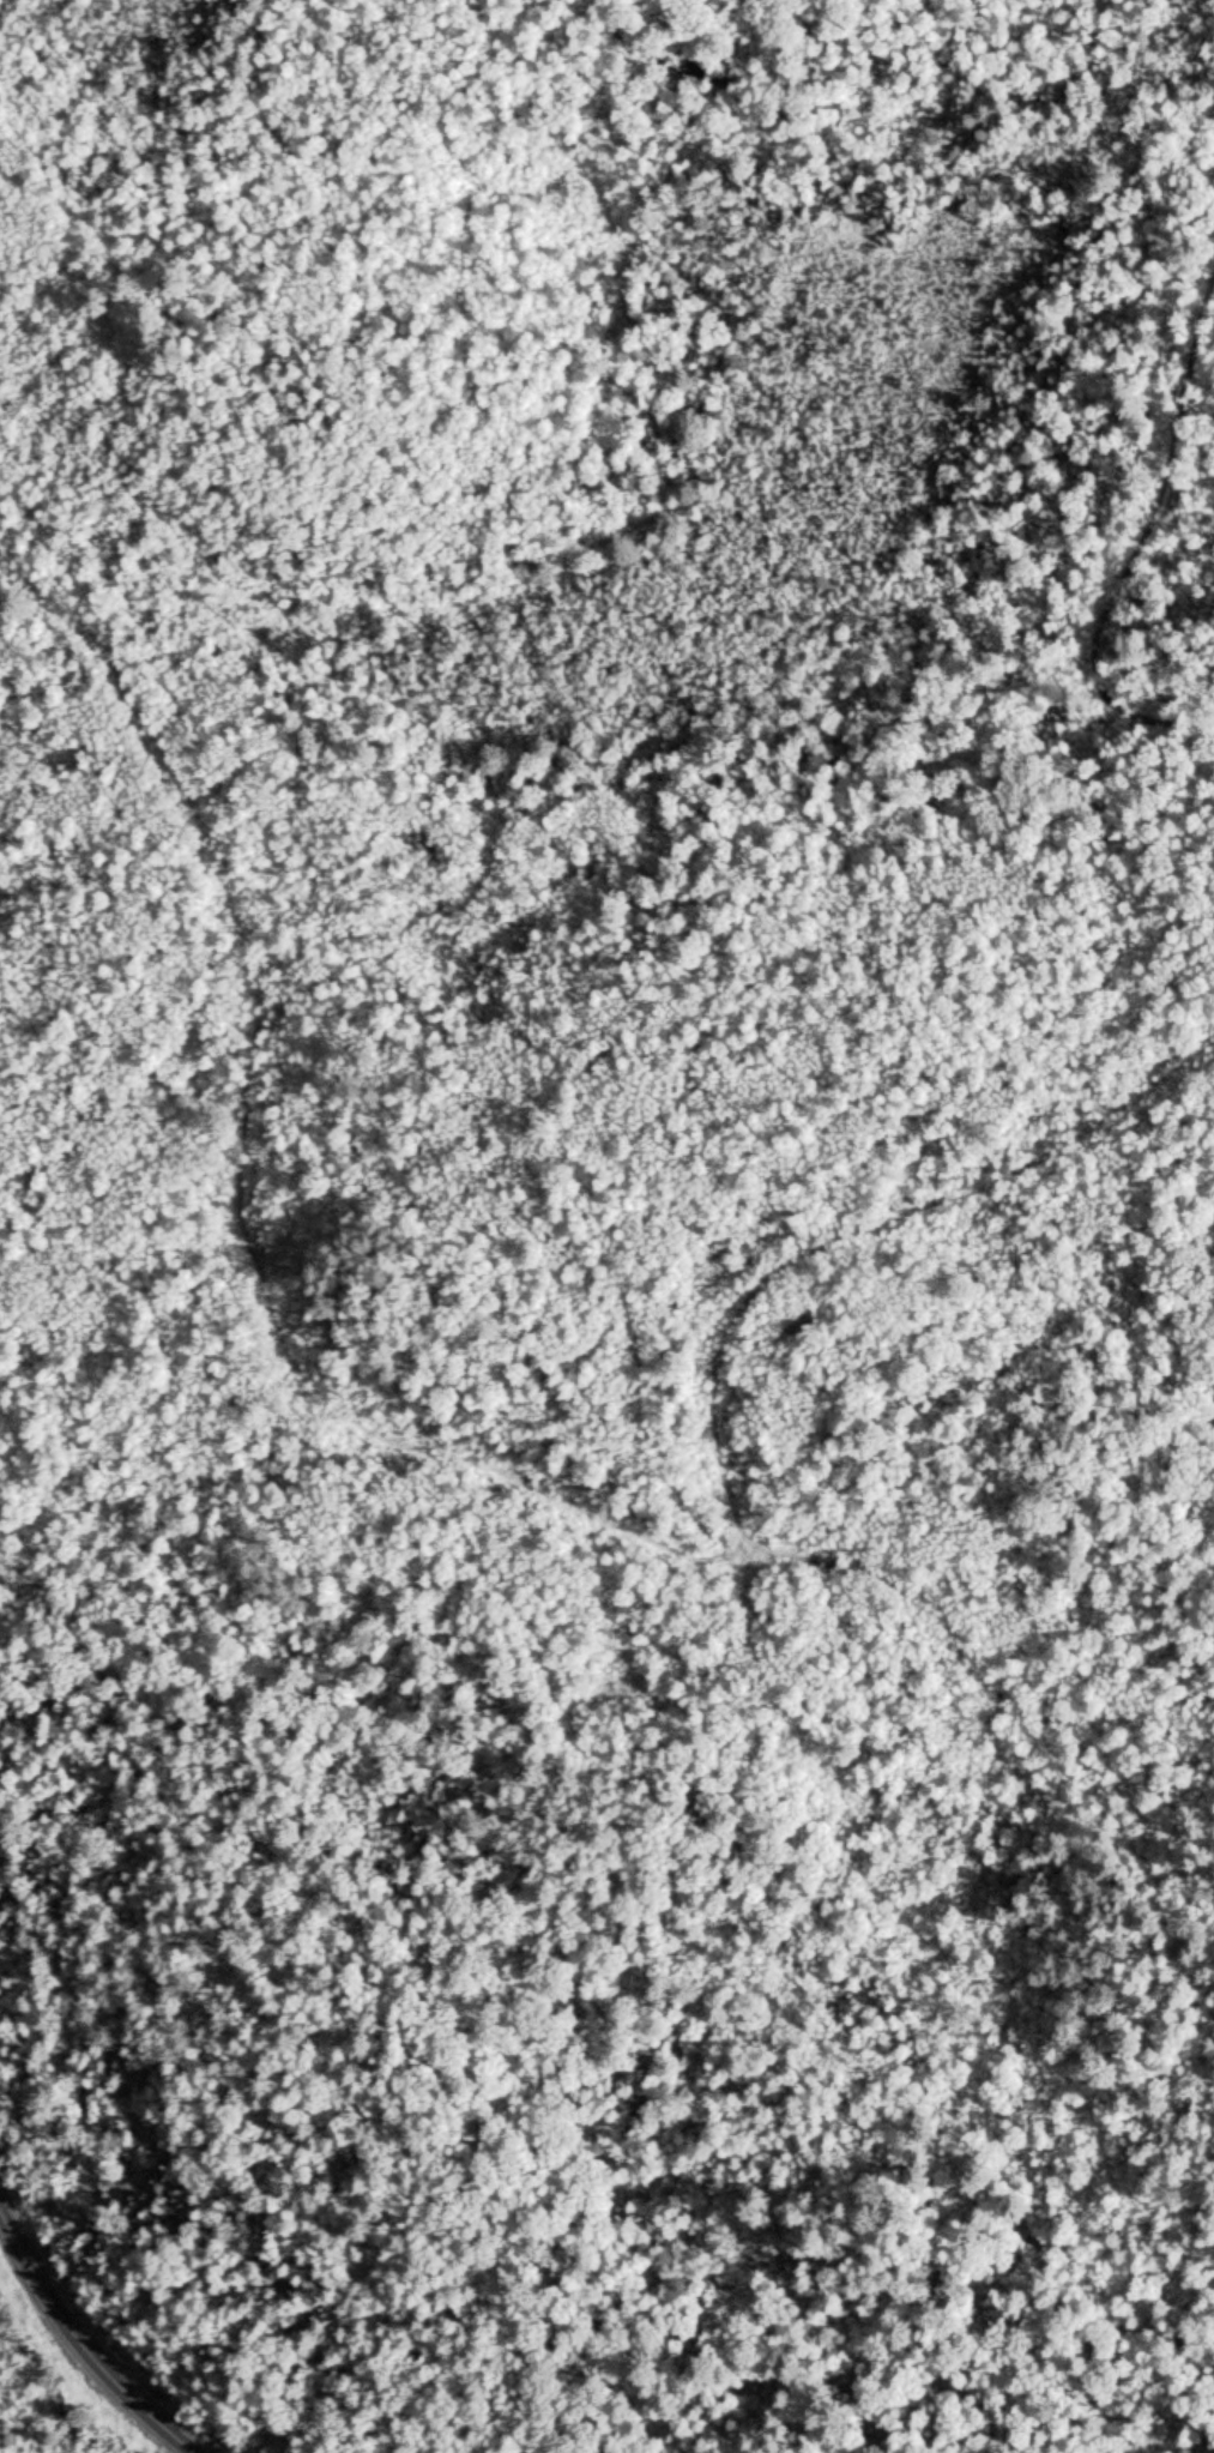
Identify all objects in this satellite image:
road: (83, 2339)

